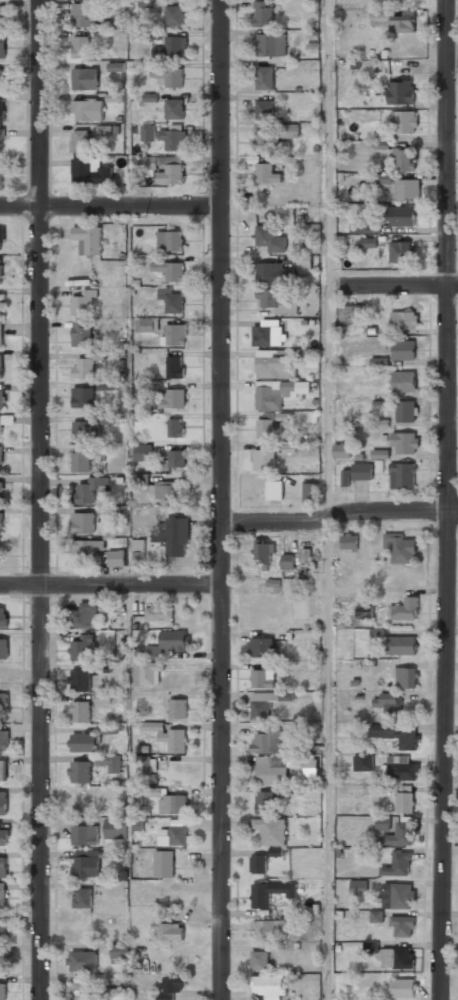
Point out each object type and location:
building: (263, 13)
building: (174, 14)
building: (82, 15)
building: (1, 17)
building: (395, 18)
building: (271, 44)
building: (171, 46)
building: (2, 47)
building: (80, 47)
road: (452, 60)
building: (174, 77)
building: (265, 77)
building: (1, 79)
building: (84, 79)
building: (400, 91)
building: (174, 108)
building: (1, 109)
building: (264, 109)
building: (88, 110)
building: (405, 121)
building: (291, 130)
building: (148, 133)
building: (173, 139)
building: (1, 140)
building: (267, 140)
building: (79, 141)
building: (404, 158)
building: (90, 170)
building: (171, 171)
building: (1, 172)
building: (267, 172)
building: (404, 188)
road: (111, 206)
building: (401, 216)
building: (365, 227)
building: (312, 231)
building: (270, 237)
building: (1, 239)
building: (89, 239)
building: (170, 239)
building: (368, 242)
building: (401, 251)
road: (327, 259)
building: (304, 263)
building: (169, 269)
building: (1, 271)
building: (273, 272)
road: (392, 285)
building: (277, 299)
building: (171, 300)
building: (1, 303)
building: (83, 303)
building: (351, 314)
building: (404, 318)
building: (145, 325)
building: (82, 332)
building: (1, 333)
building: (175, 334)
building: (268, 334)
building: (403, 349)
building: (85, 364)
building: (1, 366)
building: (175, 366)
building: (275, 366)
building: (403, 380)
building: (106, 385)
building: (278, 393)
building: (83, 396)
building: (175, 397)
building: (2, 399)
building: (406, 410)
building: (107, 418)
building: (268, 423)
building: (175, 426)
building: (0, 428)
building: (86, 430)
building: (404, 442)
building: (342, 450)
building: (142, 451)
building: (380, 454)
building: (176, 457)
building: (1, 458)
building: (263, 458)
building: (80, 462)
building: (362, 471)
building: (402, 475)
building: (346, 477)
building: (166, 489)
building: (275, 489)
building: (89, 490)
building: (310, 491)
building: (0, 493)
road: (39, 500)
road: (222, 500)
road: (448, 500)
road: (339, 515)
building: (84, 523)
building: (1, 524)
building: (174, 536)
building: (348, 541)
building: (400, 546)
building: (84, 547)
building: (264, 550)
building: (138, 552)
building: (305, 553)
building: (117, 557)
building: (288, 561)
road: (110, 585)
building: (405, 608)
building: (159, 612)
building: (364, 612)
building: (4, 615)
building: (83, 615)
building: (166, 641)
building: (402, 644)
building: (261, 647)
building: (4, 648)
building: (81, 648)
building: (103, 667)
building: (151, 672)
building: (406, 676)
building: (263, 677)
building: (79, 679)
building: (103, 698)
building: (4, 701)
building: (387, 701)
building: (262, 705)
building: (178, 708)
building: (80, 710)
building: (110, 729)
building: (396, 733)
building: (171, 738)
building: (4, 740)
building: (267, 740)
building: (84, 742)
road: (328, 759)
building: (110, 761)
building: (363, 763)
building: (145, 764)
building: (272, 768)
building: (401, 768)
building: (2, 770)
building: (80, 771)
building: (150, 791)
building: (404, 798)
building: (81, 801)
building: (267, 801)
building: (3, 802)
building: (173, 804)
building: (382, 823)
building: (115, 828)
building: (271, 829)
building: (2, 833)
building: (173, 833)
building: (401, 833)
building: (85, 834)
building: (258, 862)
building: (85, 863)
building: (163, 863)
building: (399, 863)
building: (3, 866)
building: (359, 886)
building: (270, 891)
building: (398, 894)
building: (83, 897)
building: (2, 898)
building: (376, 916)
building: (402, 925)
building: (3, 929)
building: (169, 930)
building: (276, 930)
building: (119, 953)
building: (398, 956)
building: (260, 959)
building: (82, 960)
building: (2, 961)
building: (172, 983)
building: (268, 986)
building: (403, 987)
building: (2, 991)
building: (118, 994)

